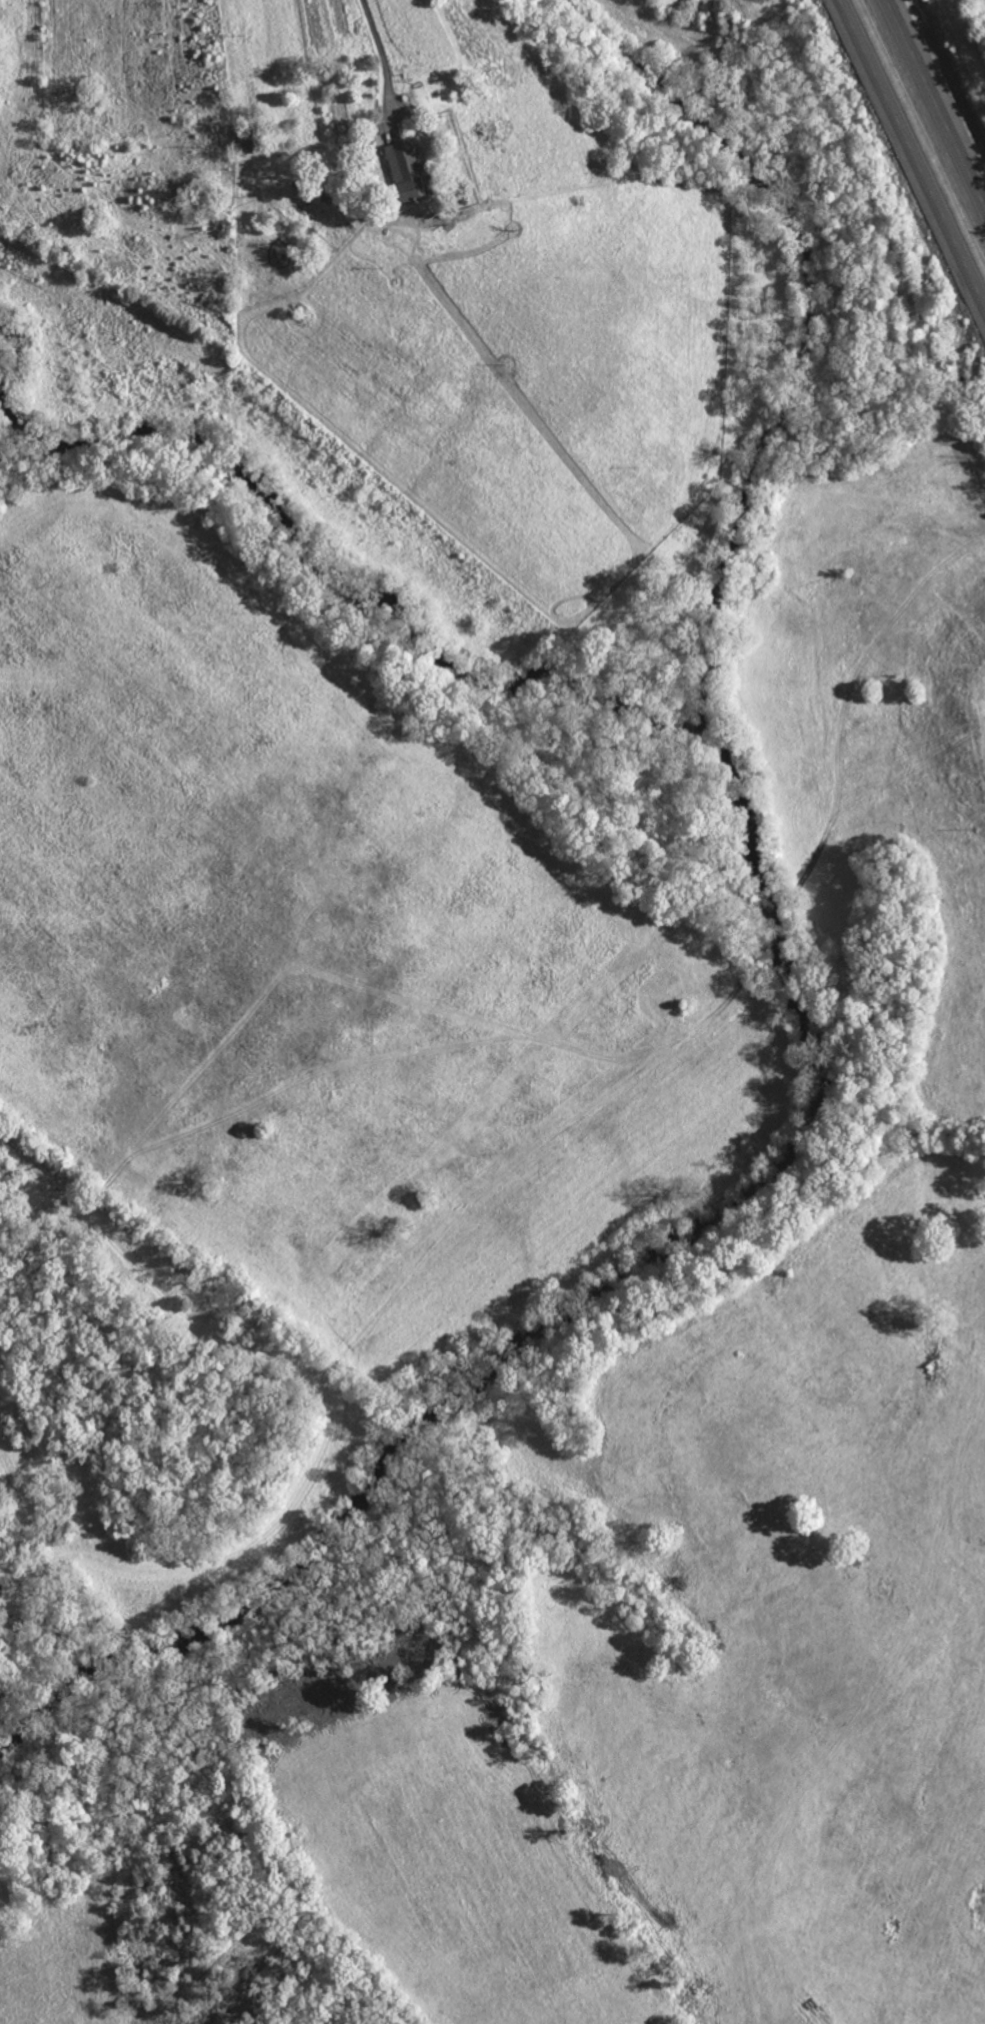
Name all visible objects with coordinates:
road: (362, 46)
road: (937, 100)
road: (912, 152)
building: (406, 170)

